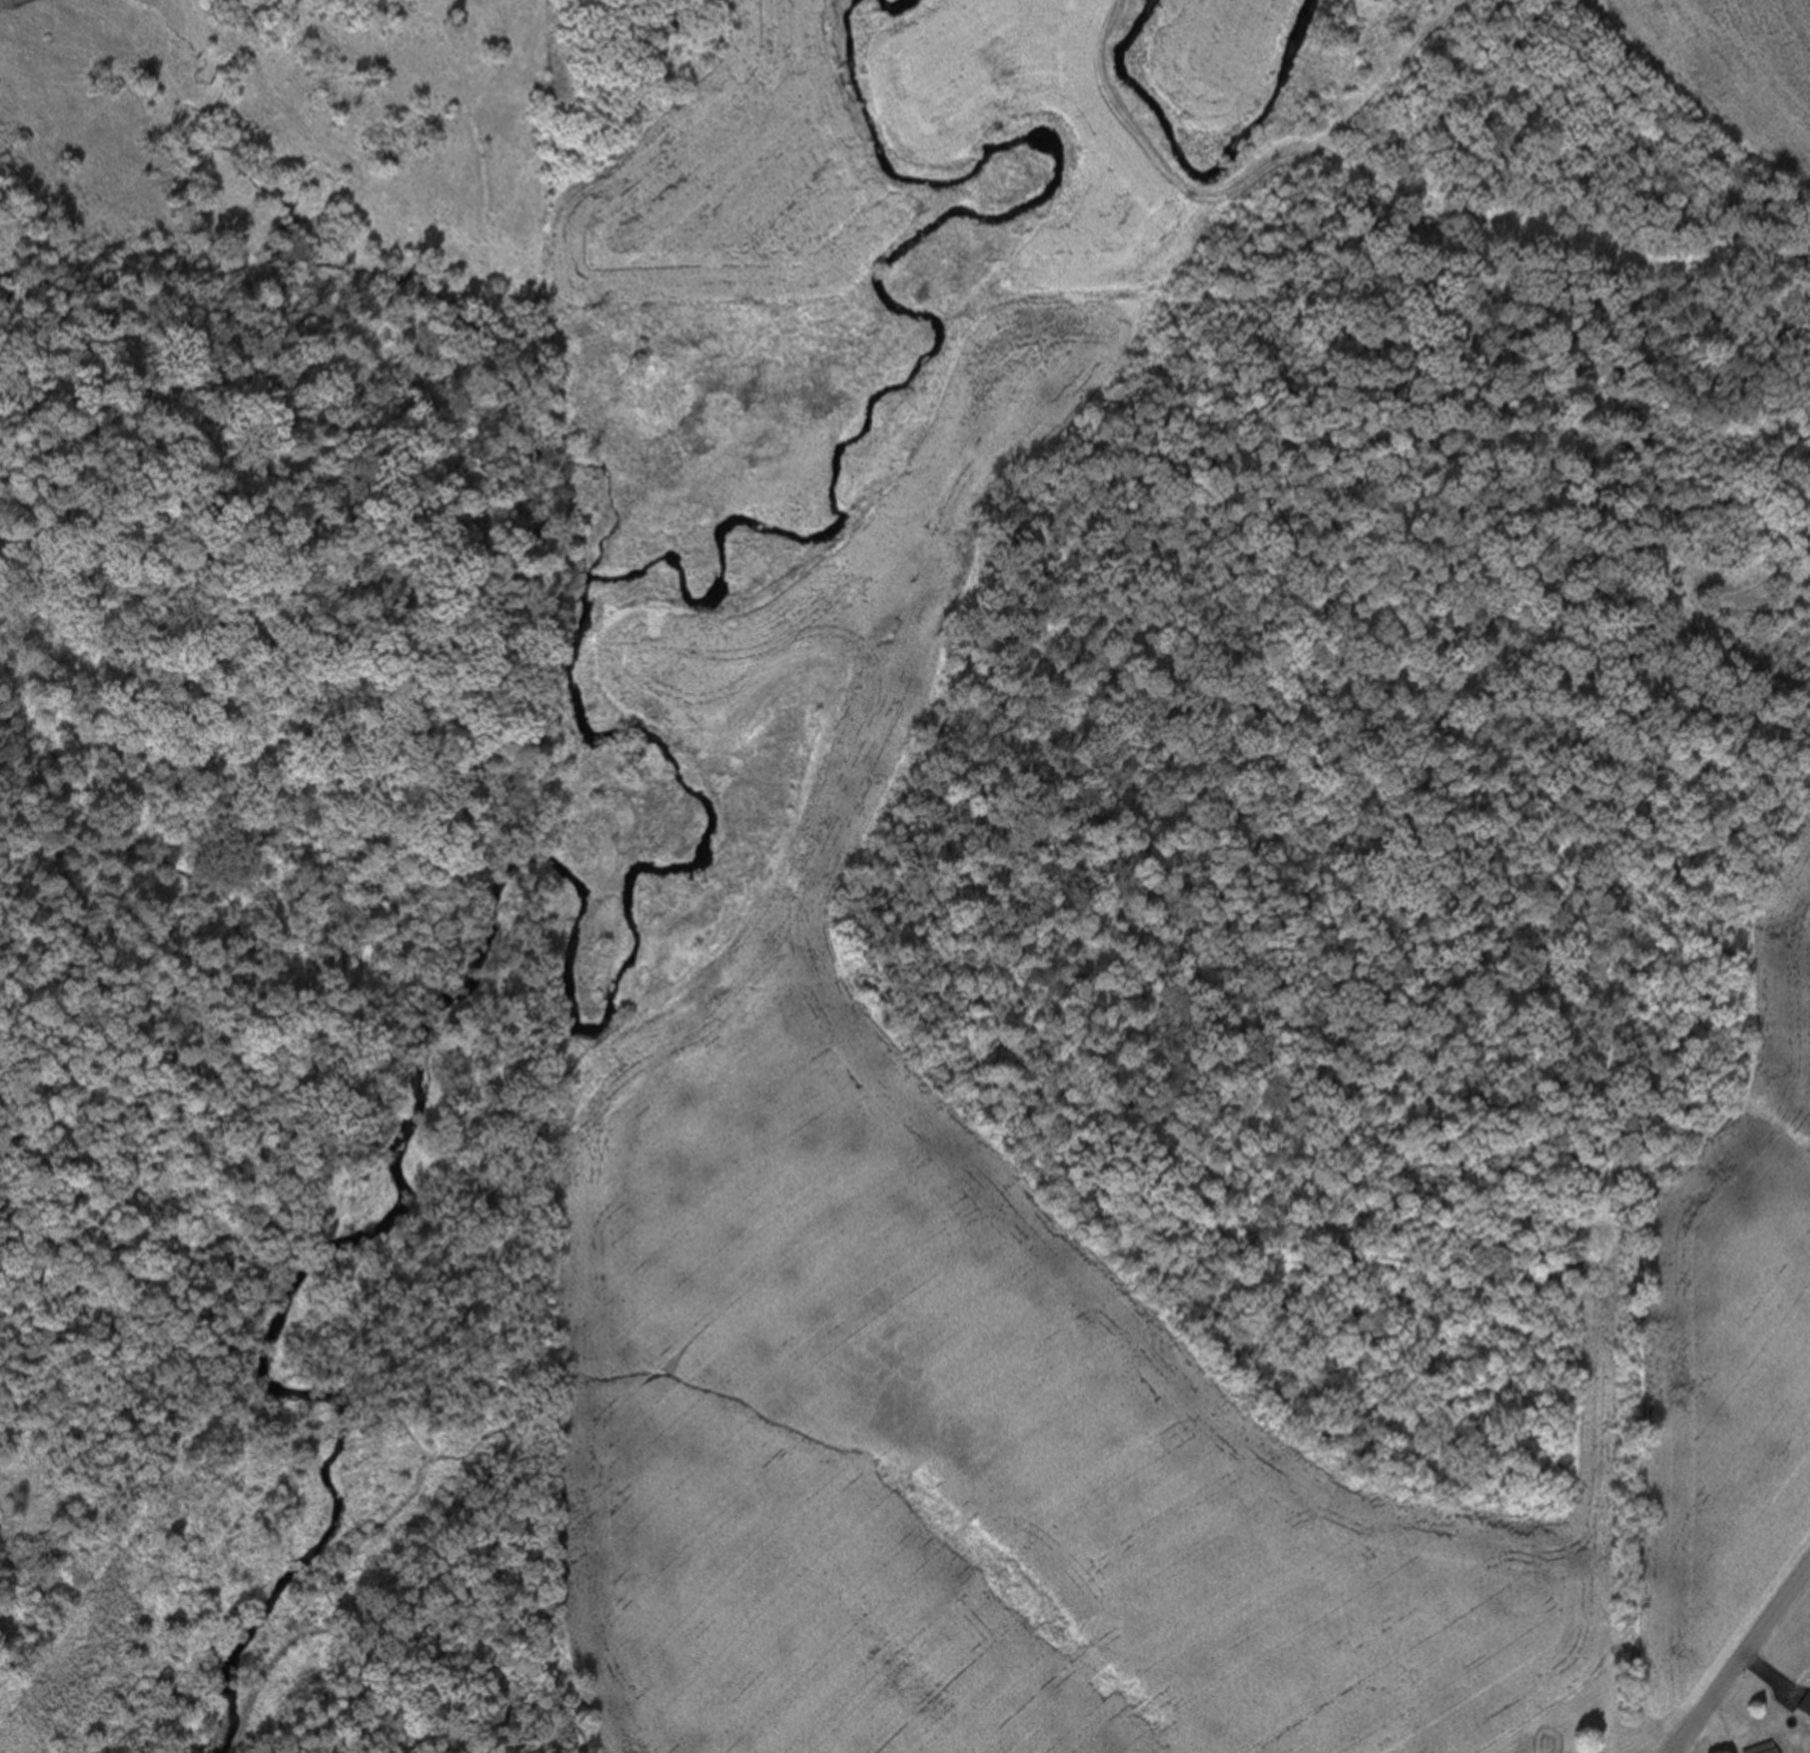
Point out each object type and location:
road: (1744, 1660)
building: (1806, 1707)

